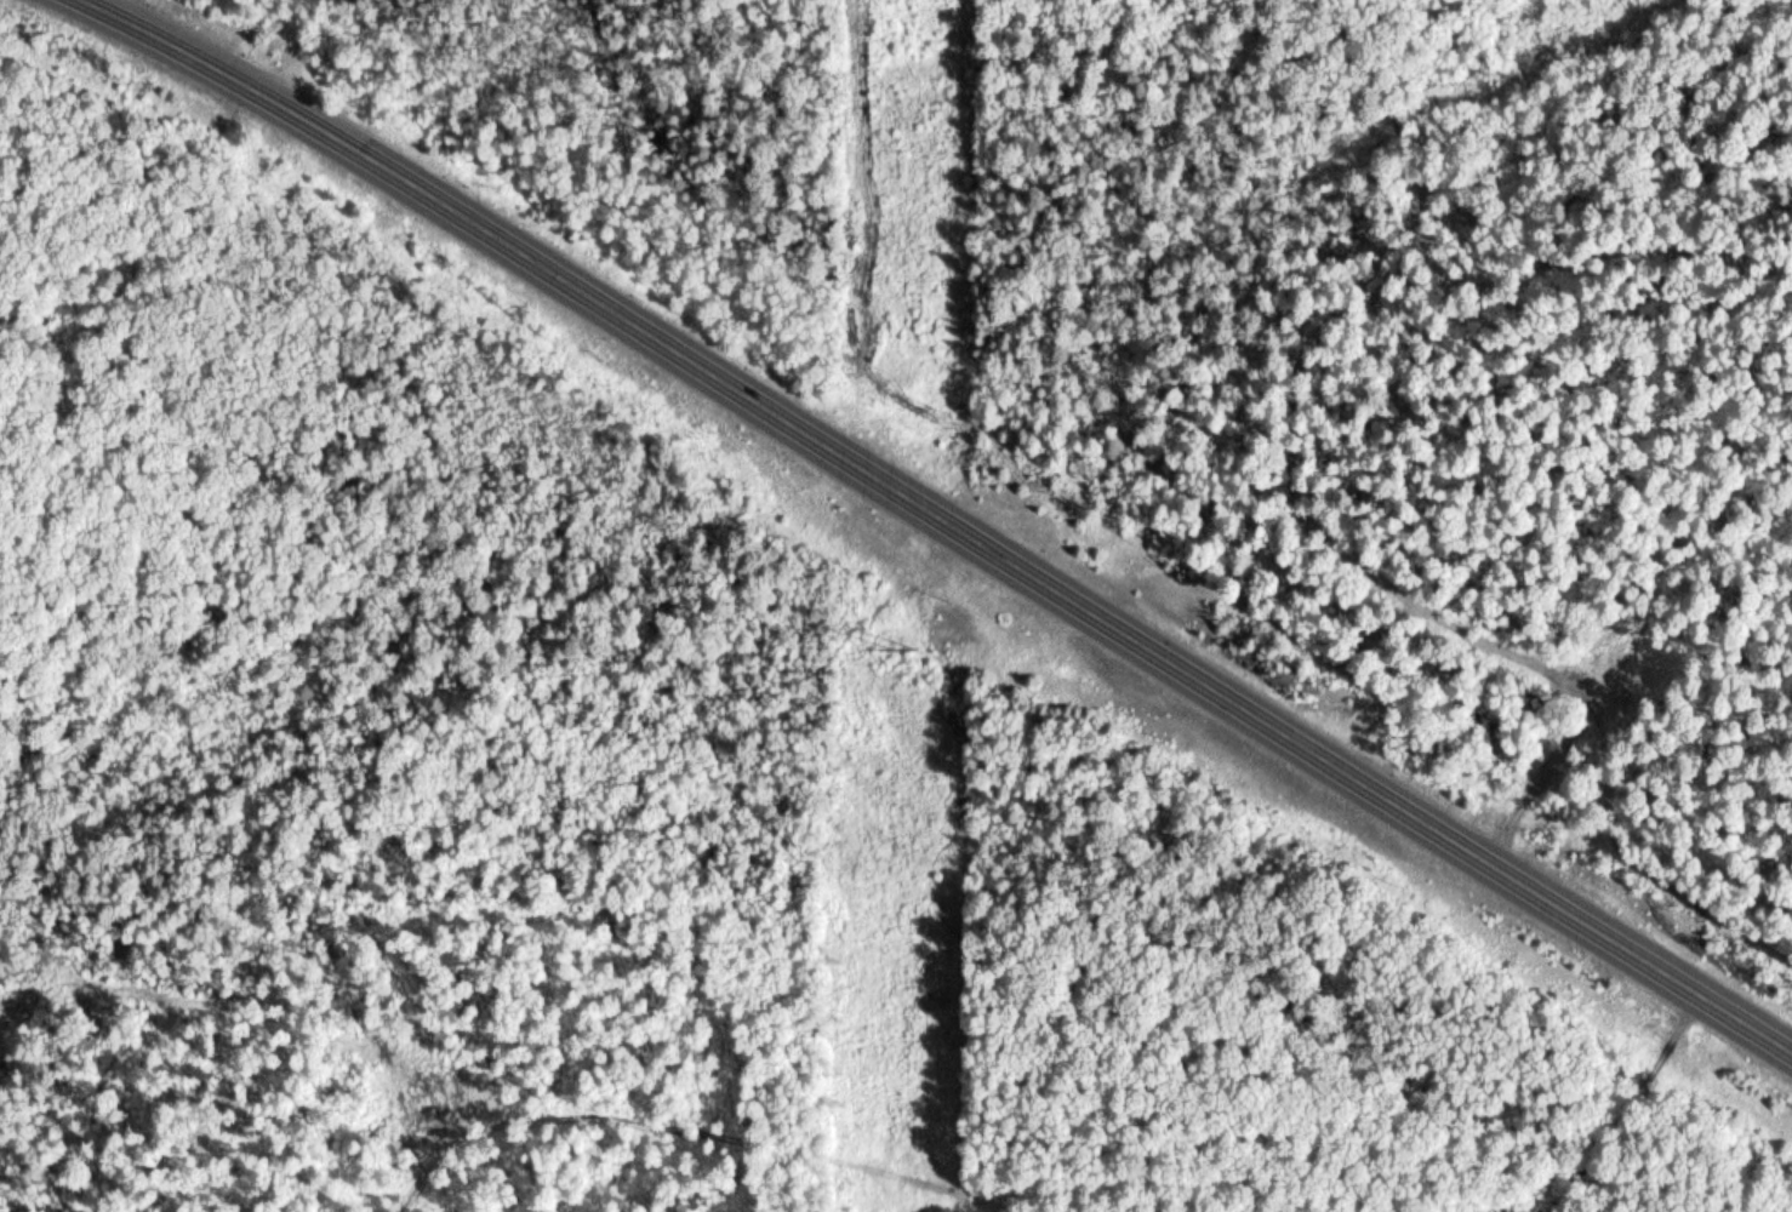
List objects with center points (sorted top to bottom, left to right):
road: (954, 521)
power tower: (900, 650)

